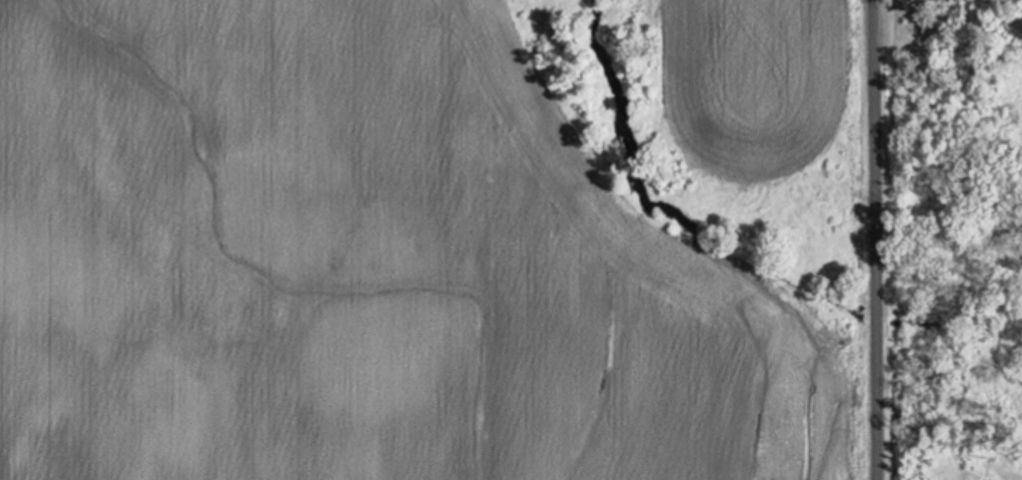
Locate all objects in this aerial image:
road: (870, 239)

